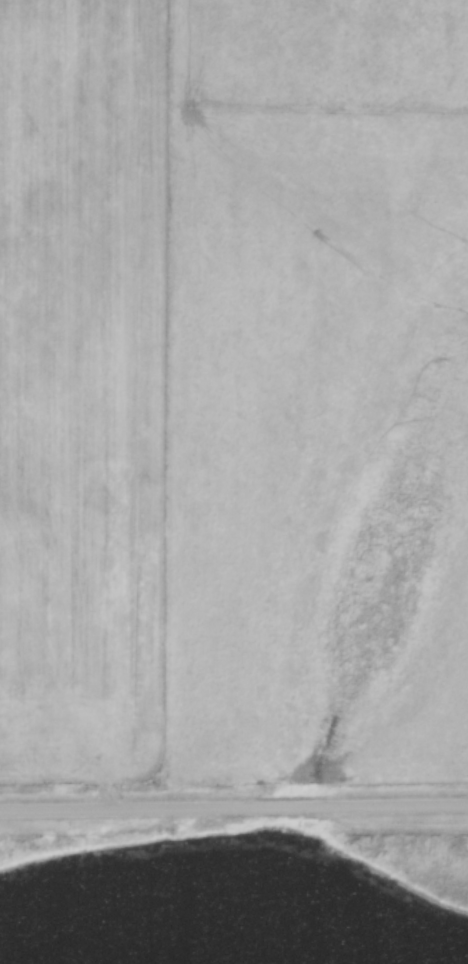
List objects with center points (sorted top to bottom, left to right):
road: (234, 804)

